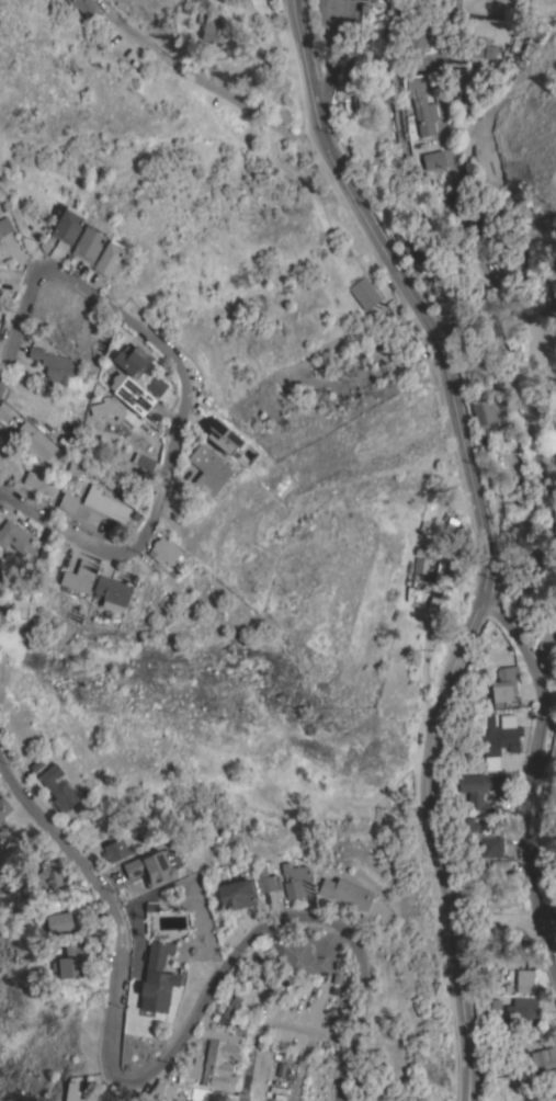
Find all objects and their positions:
building: (375, 1)
building: (84, 7)
building: (363, 8)
road: (334, 22)
building: (212, 30)
building: (417, 34)
building: (483, 50)
building: (361, 64)
road: (328, 75)
road: (204, 80)
building: (465, 83)
building: (418, 107)
building: (431, 160)
building: (484, 164)
road: (453, 177)
building: (488, 222)
building: (4, 227)
building: (61, 227)
road: (374, 237)
building: (83, 245)
building: (417, 252)
building: (517, 258)
building: (103, 260)
building: (364, 292)
building: (555, 295)
road: (116, 321)
road: (19, 326)
building: (472, 355)
building: (126, 362)
building: (53, 368)
building: (152, 387)
building: (127, 396)
building: (110, 412)
building: (486, 412)
building: (229, 442)
building: (34, 443)
building: (140, 463)
building: (71, 470)
building: (202, 473)
road: (168, 475)
building: (34, 480)
building: (65, 503)
building: (102, 507)
road: (64, 531)
road: (484, 533)
building: (14, 544)
building: (161, 553)
building: (423, 572)
building: (71, 579)
building: (106, 593)
building: (548, 639)
road: (517, 642)
road: (458, 652)
building: (546, 658)
building: (506, 686)
building: (507, 719)
building: (498, 737)
building: (490, 764)
building: (481, 785)
building: (54, 788)
building: (1, 811)
building: (549, 822)
road: (525, 824)
building: (136, 827)
building: (468, 830)
building: (491, 845)
building: (117, 849)
building: (501, 866)
building: (152, 869)
building: (42, 876)
building: (262, 882)
building: (292, 882)
building: (229, 895)
building: (342, 895)
building: (502, 899)
road: (449, 904)
building: (50, 926)
building: (299, 958)
building: (65, 966)
building: (152, 978)
building: (525, 980)
building: (245, 983)
building: (525, 1011)
road: (307, 1028)
road: (170, 1047)
building: (544, 1057)
building: (218, 1058)
building: (188, 1070)
building: (76, 1090)
building: (160, 1090)
building: (216, 1097)
building: (237, 1098)

